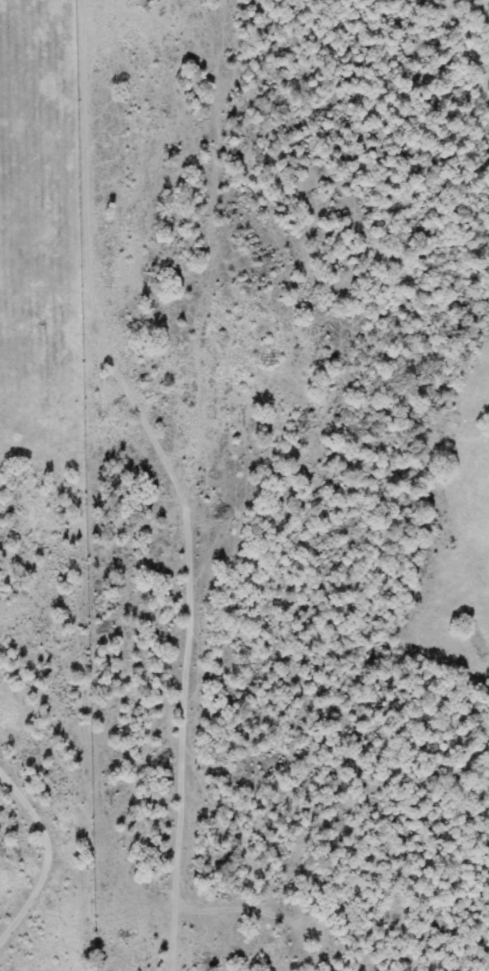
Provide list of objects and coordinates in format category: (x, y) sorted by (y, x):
road: (60, 850)

